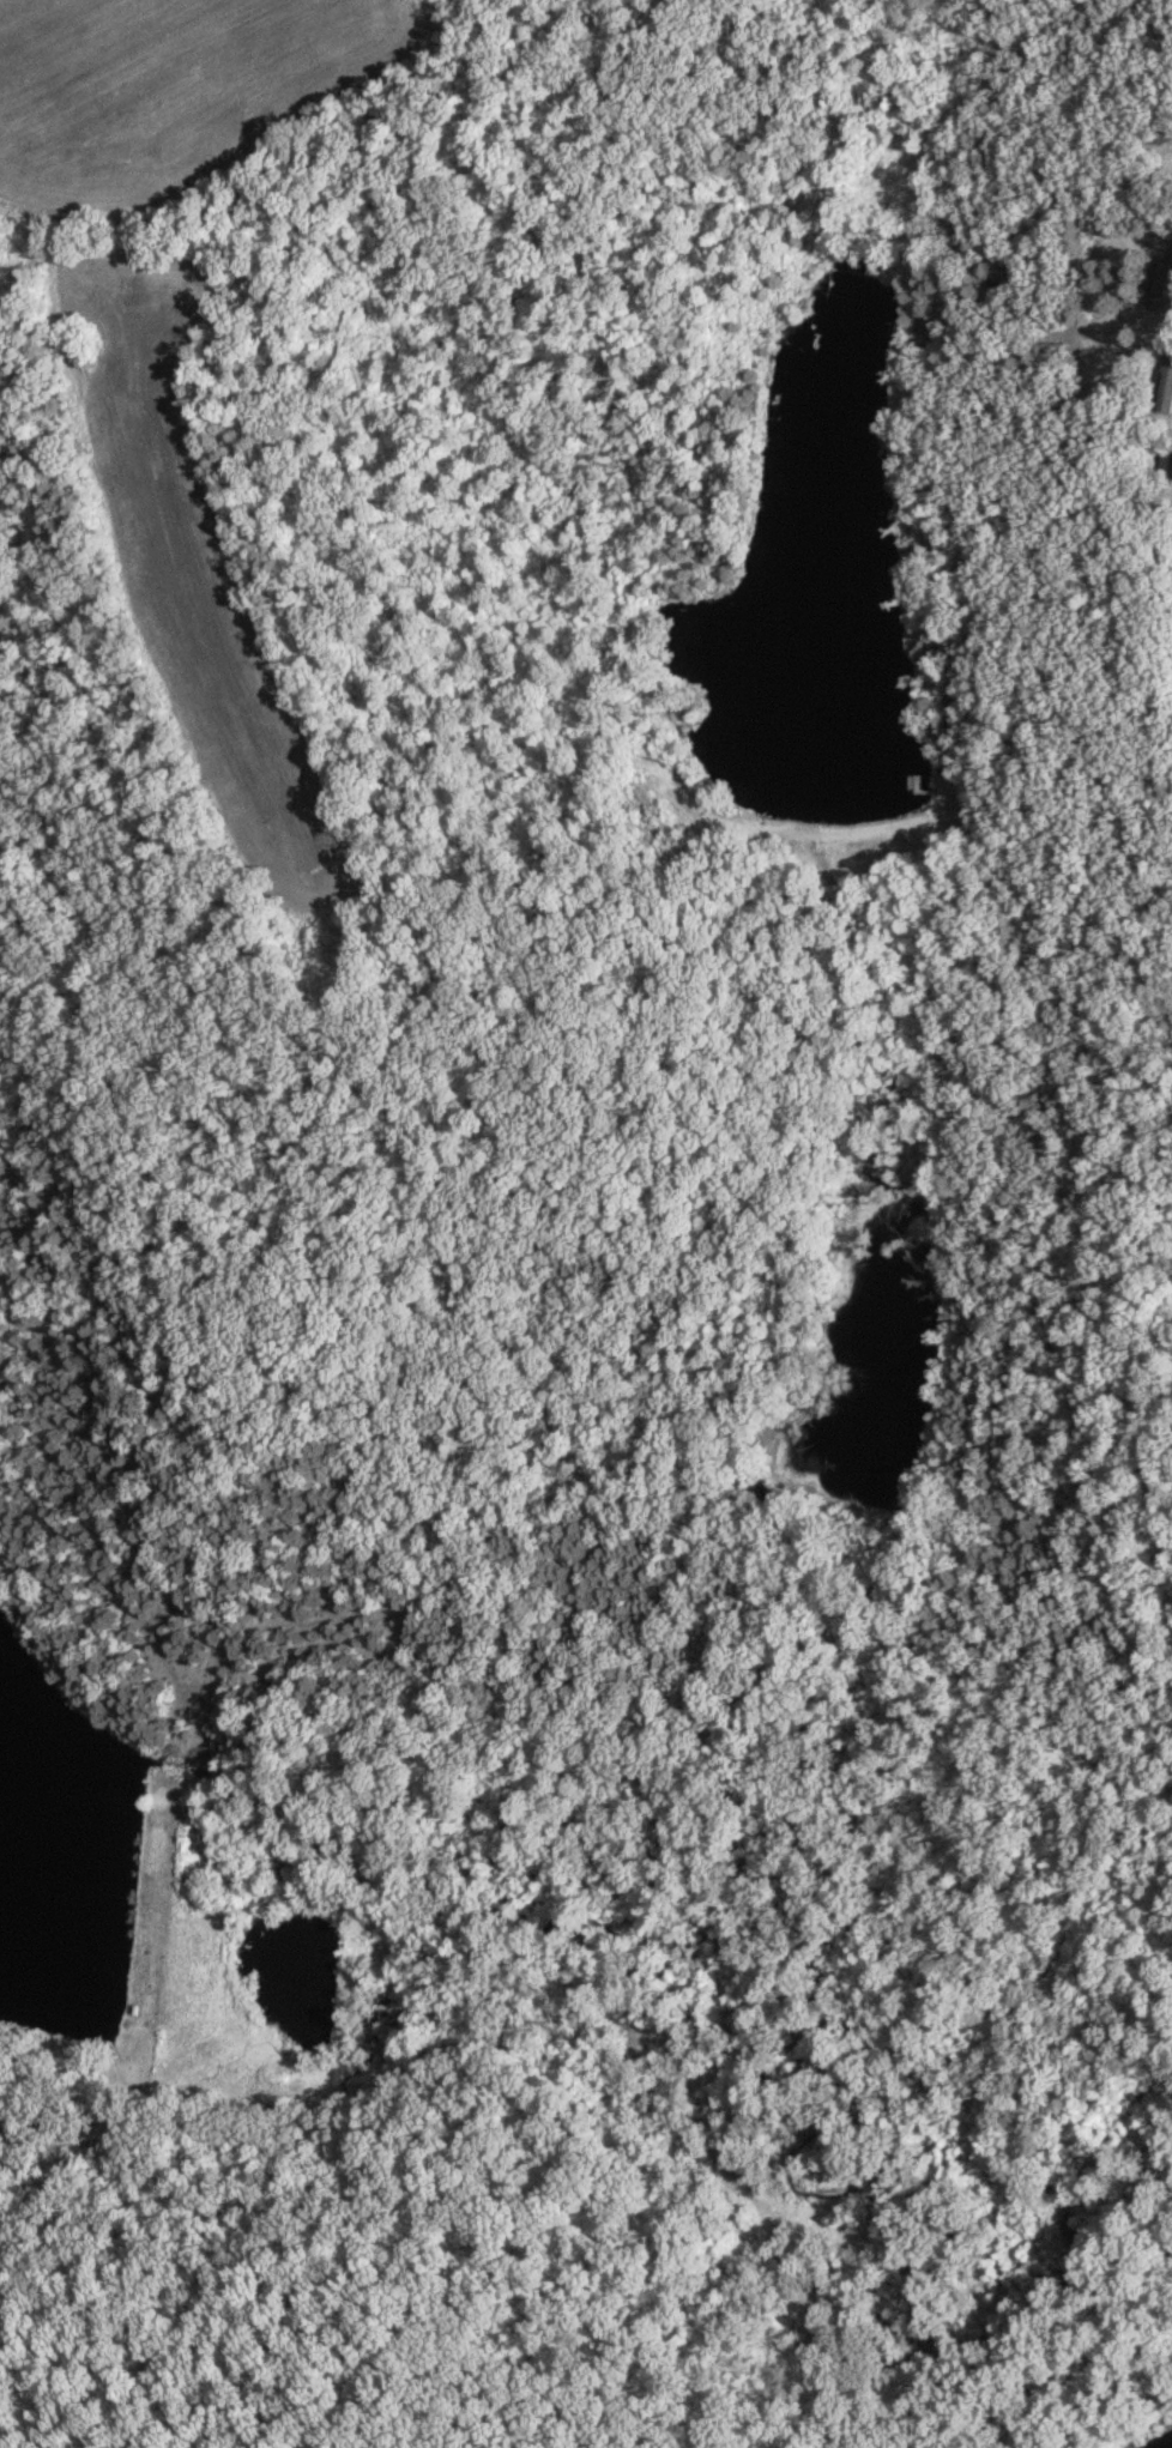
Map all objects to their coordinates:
building: (1161, 285)
building: (1166, 383)
road: (85, 2130)

